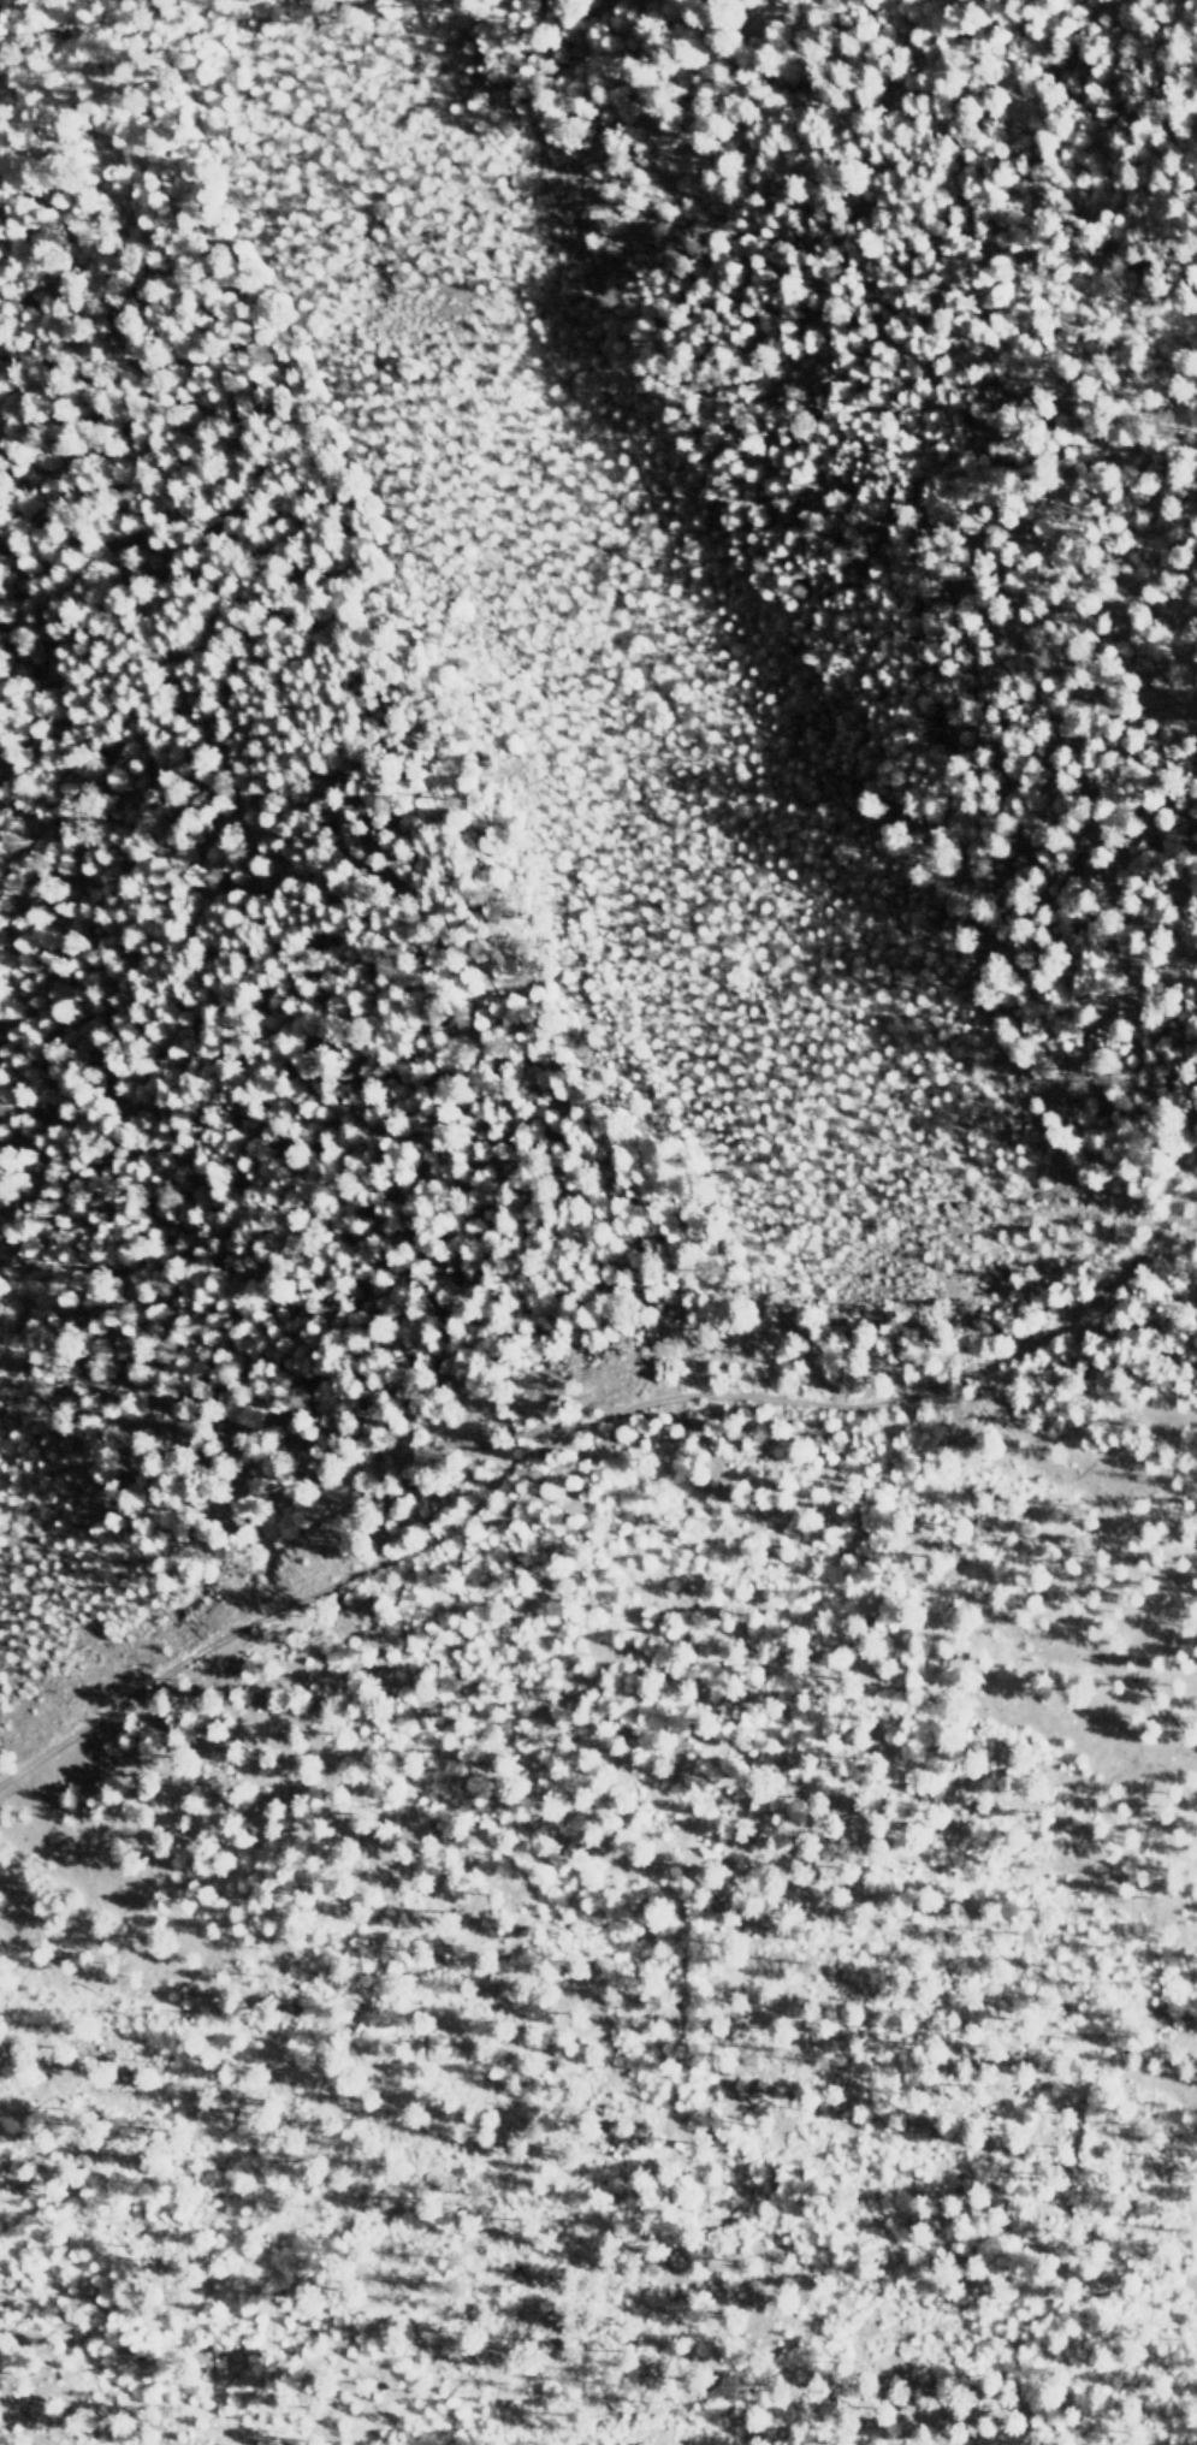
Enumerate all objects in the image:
road: (586, 1417)

